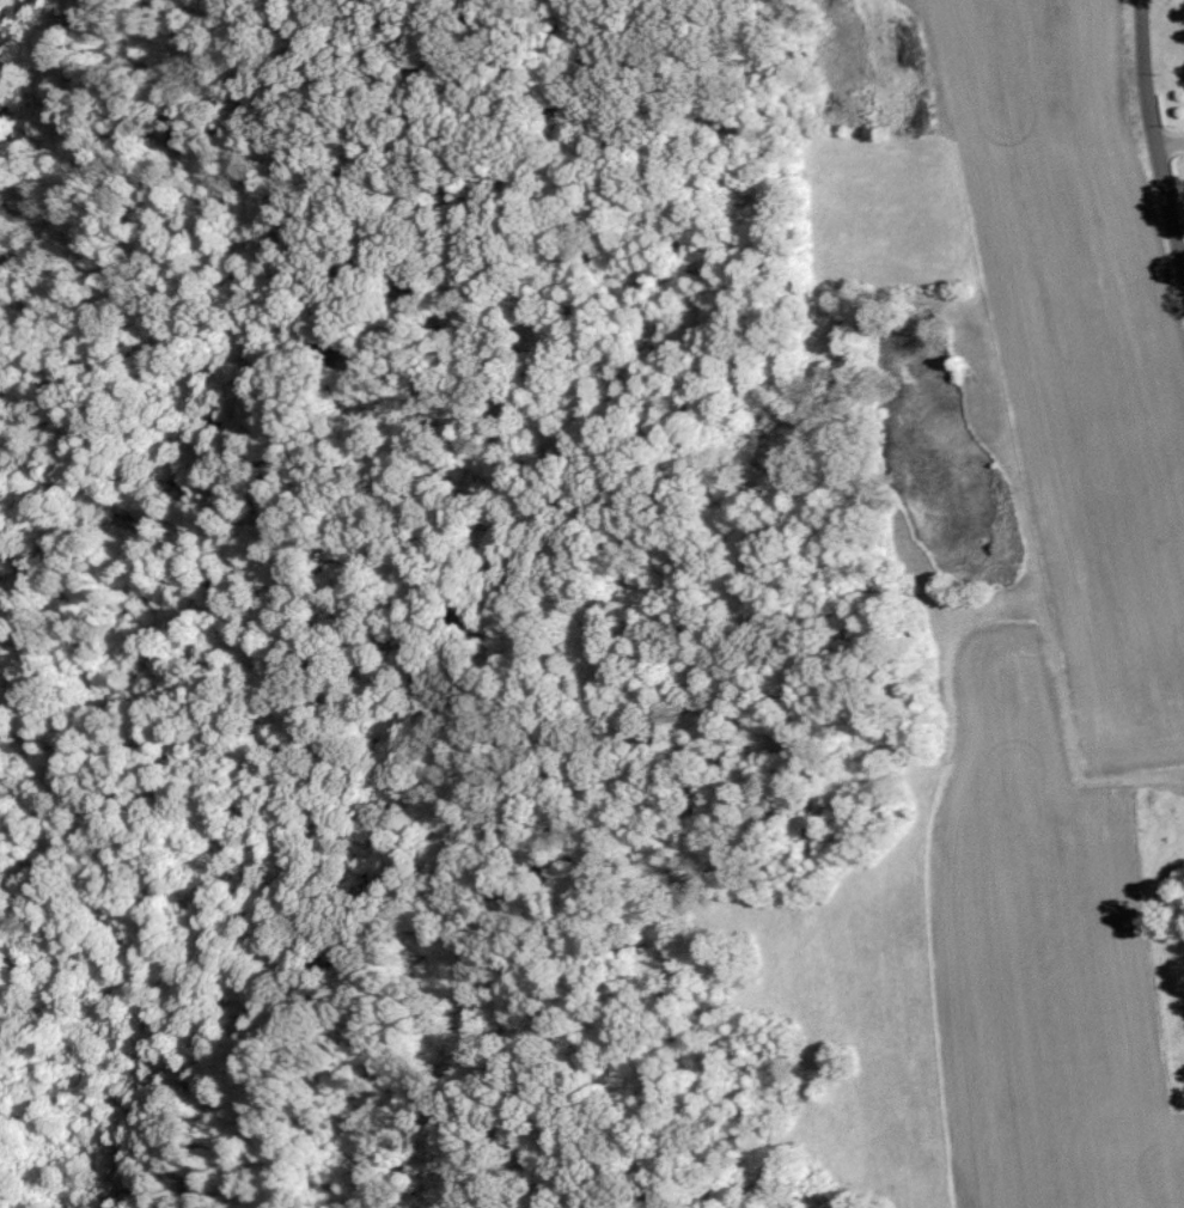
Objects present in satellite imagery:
road: (1154, 134)
road: (1170, 145)

